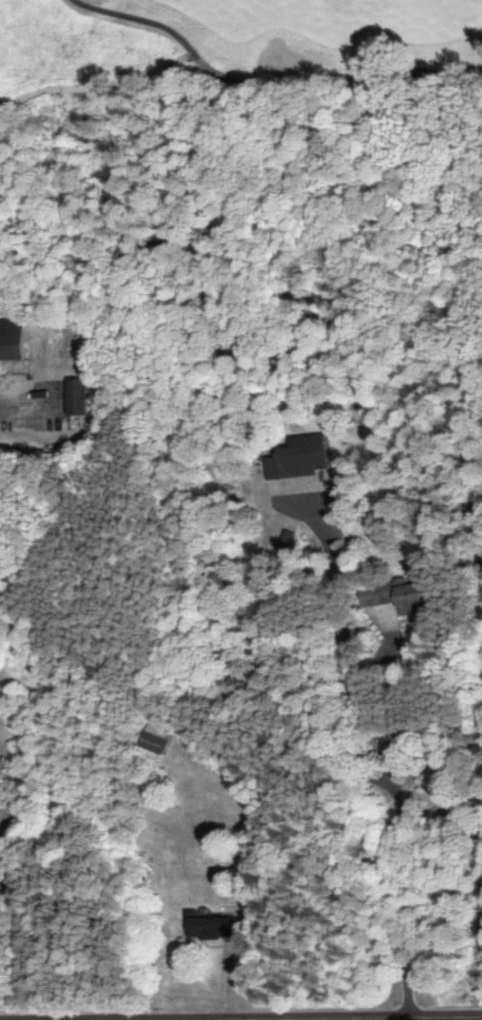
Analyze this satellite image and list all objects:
road: (270, 78)
building: (11, 336)
road: (25, 391)
building: (75, 394)
building: (297, 457)
building: (394, 595)
park: (61, 649)
building: (152, 738)
road: (380, 770)
building: (209, 926)
road: (272, 1018)
road: (148, 1019)
road: (262, 1019)

